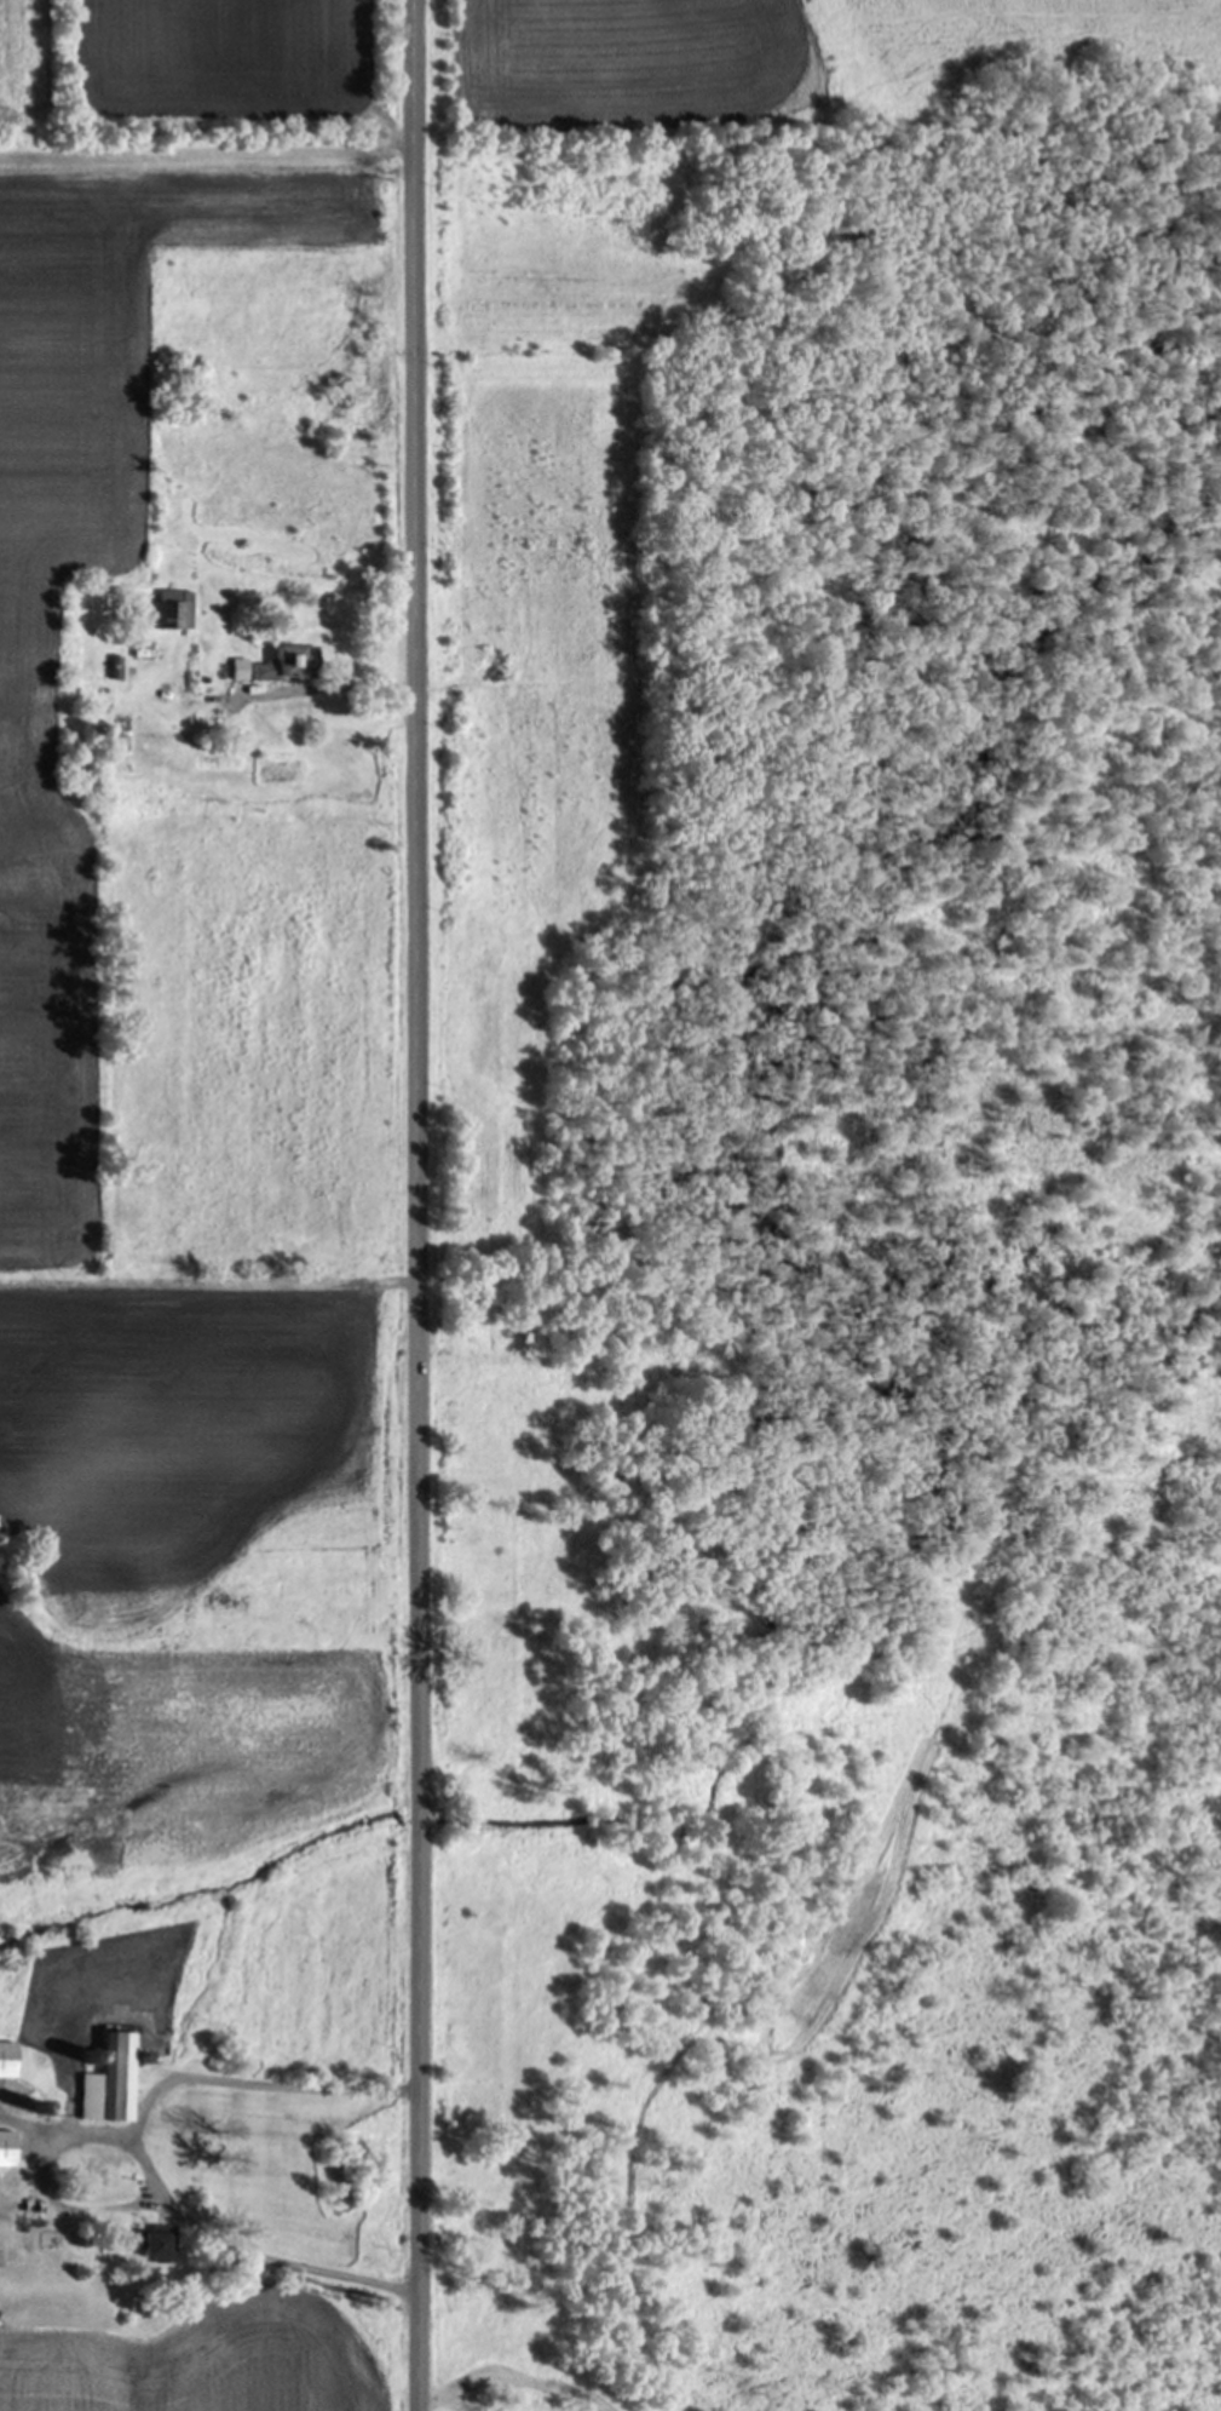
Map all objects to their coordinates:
building: (171, 609)
building: (281, 665)
road: (430, 1205)
building: (6, 2059)
building: (108, 2080)
road: (63, 2132)
building: (6, 2147)
road: (132, 2148)
building: (148, 2244)

